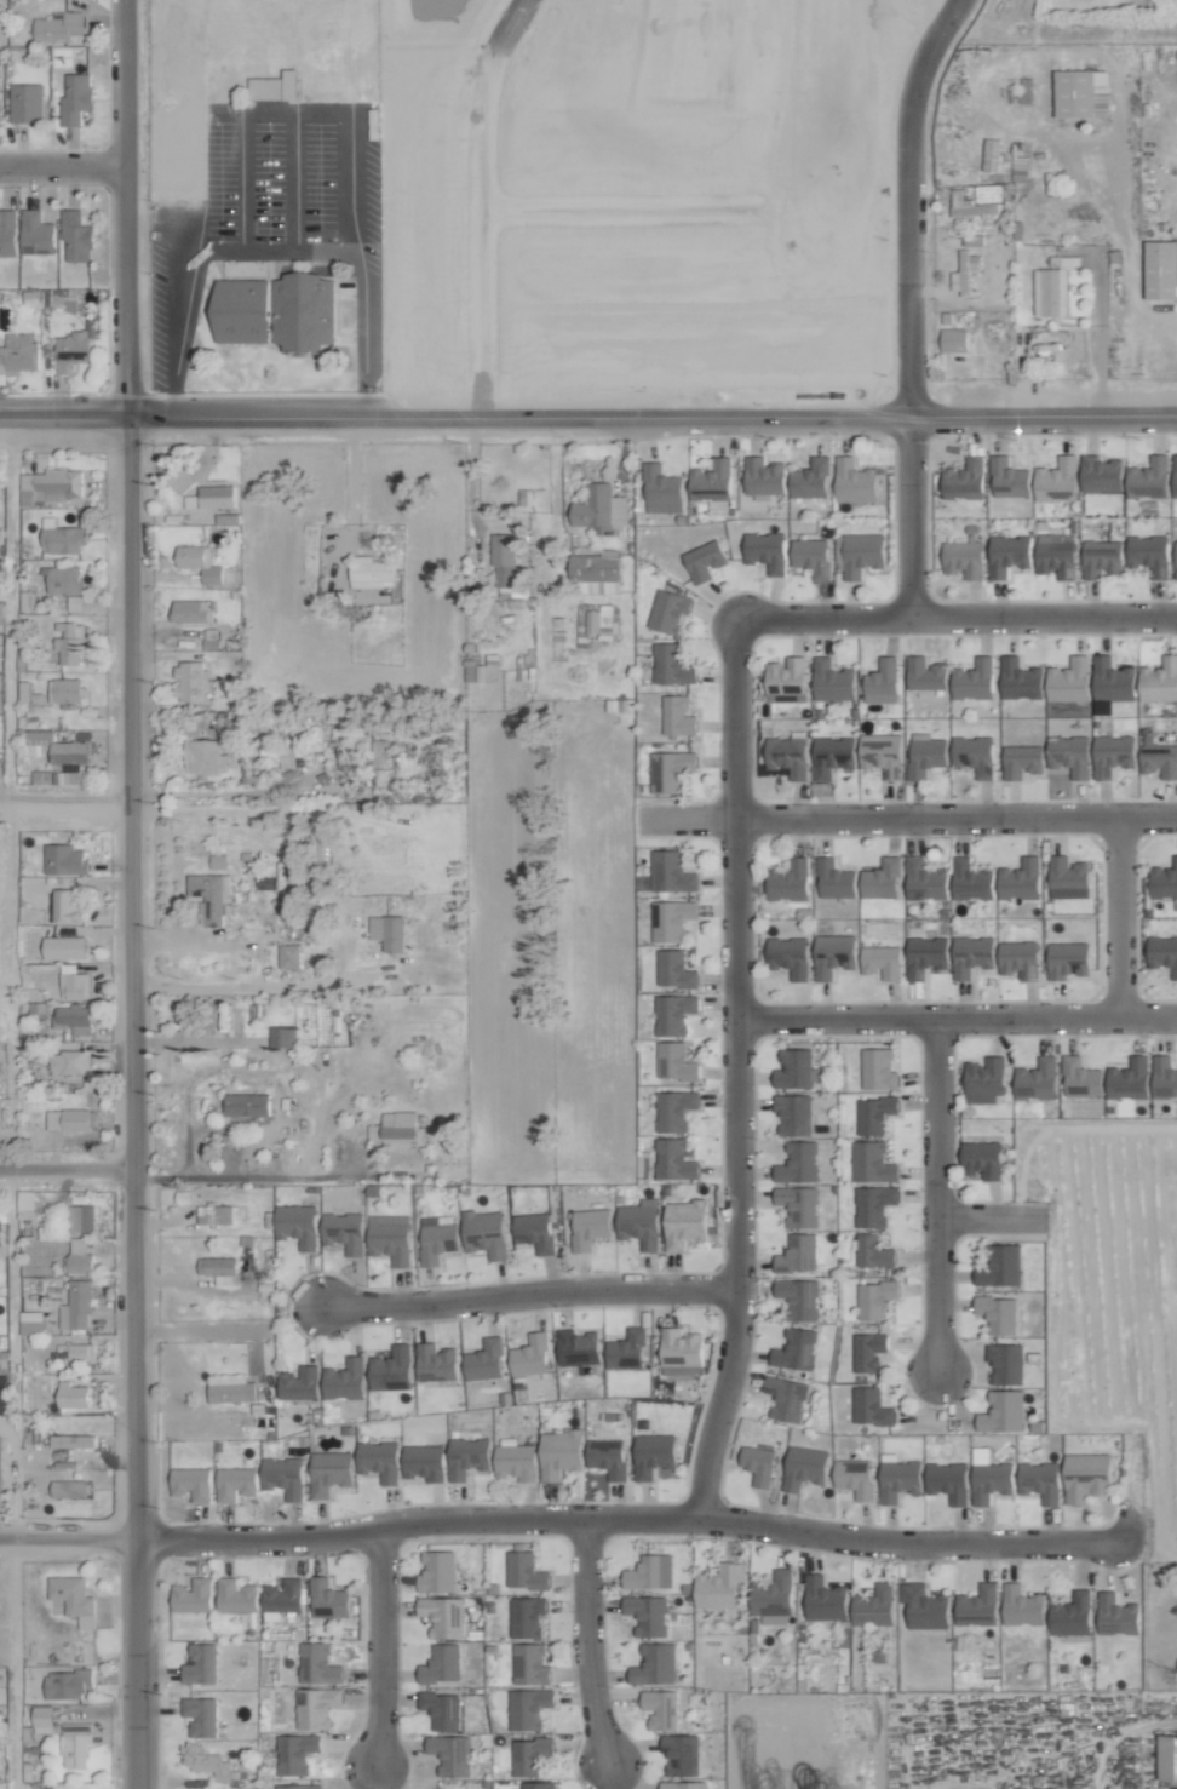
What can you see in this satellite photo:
building: (57, 27)
building: (274, 87)
building: (1081, 93)
building: (74, 98)
building: (24, 103)
road: (249, 109)
road: (62, 165)
building: (1018, 168)
road: (459, 202)
building: (969, 205)
building: (6, 233)
building: (35, 234)
building: (74, 237)
building: (971, 240)
building: (1161, 271)
building: (963, 273)
building: (1052, 286)
road: (913, 302)
building: (275, 312)
building: (953, 340)
building: (73, 346)
building: (17, 354)
road: (587, 417)
building: (1100, 472)
building: (1175, 474)
building: (762, 477)
building: (1007, 477)
building: (1148, 477)
building: (180, 478)
building: (809, 478)
building: (964, 478)
building: (1056, 478)
building: (711, 480)
building: (852, 480)
building: (48, 484)
building: (661, 489)
building: (216, 495)
building: (598, 508)
building: (61, 538)
building: (765, 550)
building: (861, 554)
building: (1007, 554)
building: (1055, 554)
building: (1148, 554)
building: (810, 556)
building: (1175, 556)
building: (963, 557)
building: (1100, 557)
building: (503, 560)
building: (702, 560)
building: (199, 562)
building: (595, 572)
building: (369, 573)
building: (64, 584)
road: (8, 610)
building: (190, 610)
building: (667, 610)
road: (957, 615)
building: (609, 624)
building: (68, 642)
building: (671, 664)
building: (481, 667)
building: (924, 672)
building: (1018, 678)
building: (189, 680)
building: (785, 680)
building: (832, 680)
building: (972, 680)
building: (1068, 680)
building: (1112, 680)
building: (1159, 680)
building: (880, 681)
building: (64, 689)
building: (677, 715)
building: (349, 733)
building: (53, 747)
building: (283, 752)
building: (880, 753)
building: (1112, 753)
building: (787, 755)
building: (972, 755)
building: (1069, 755)
building: (203, 756)
building: (831, 756)
building: (925, 756)
building: (1020, 759)
building: (1159, 761)
building: (671, 770)
road: (65, 809)
road: (907, 818)
building: (63, 859)
building: (671, 871)
building: (1068, 877)
building: (833, 879)
building: (880, 879)
building: (924, 879)
building: (970, 879)
building: (1020, 879)
building: (787, 881)
building: (1164, 881)
road: (131, 894)
building: (211, 895)
building: (65, 906)
road: (1123, 917)
building: (671, 919)
road: (426, 923)
building: (386, 931)
building: (63, 947)
building: (1162, 952)
building: (832, 954)
building: (925, 954)
building: (971, 954)
building: (287, 956)
building: (788, 956)
building: (1018, 958)
building: (1067, 959)
building: (882, 961)
building: (673, 969)
building: (73, 982)
building: (672, 1013)
road: (958, 1016)
building: (282, 1036)
building: (68, 1061)
building: (674, 1061)
building: (878, 1068)
building: (794, 1070)
road: (740, 1076)
building: (1164, 1077)
building: (1080, 1078)
building: (1127, 1078)
building: (984, 1079)
building: (1035, 1079)
building: (245, 1103)
building: (673, 1109)
building: (792, 1113)
building: (873, 1114)
building: (69, 1119)
building: (398, 1129)
building: (981, 1158)
building: (674, 1159)
building: (798, 1163)
building: (871, 1163)
road: (65, 1168)
road: (242, 1176)
road: (937, 1193)
building: (24, 1198)
building: (798, 1205)
building: (873, 1205)
building: (213, 1214)
building: (79, 1217)
road: (992, 1219)
building: (683, 1222)
building: (638, 1223)
building: (297, 1225)
building: (588, 1227)
building: (533, 1231)
building: (343, 1232)
building: (483, 1233)
building: (389, 1238)
building: (435, 1239)
building: (0, 1248)
building: (872, 1251)
building: (798, 1254)
building: (77, 1257)
building: (999, 1266)
building: (218, 1268)
road: (528, 1295)
building: (799, 1297)
building: (874, 1298)
building: (75, 1306)
building: (997, 1313)
building: (30, 1321)
building: (576, 1347)
building: (626, 1349)
building: (794, 1349)
building: (867, 1351)
building: (77, 1352)
building: (679, 1352)
building: (529, 1355)
building: (483, 1360)
building: (434, 1363)
building: (1005, 1364)
building: (390, 1369)
building: (343, 1380)
building: (297, 1383)
building: (230, 1388)
building: (71, 1395)
building: (785, 1398)
building: (869, 1406)
building: (1001, 1411)
building: (70, 1440)
building: (558, 1452)
building: (651, 1455)
building: (466, 1457)
building: (607, 1457)
building: (378, 1460)
building: (423, 1462)
building: (515, 1462)
building: (758, 1464)
building: (803, 1467)
building: (328, 1472)
building: (282, 1477)
building: (854, 1477)
building: (988, 1477)
building: (1086, 1477)
building: (897, 1478)
road: (8, 1479)
building: (1039, 1480)
building: (947, 1481)
building: (190, 1484)
building: (234, 1484)
building: (68, 1489)
road: (551, 1518)
building: (524, 1571)
building: (436, 1572)
building: (649, 1572)
building: (718, 1587)
building: (191, 1595)
building: (235, 1596)
building: (280, 1598)
building: (771, 1598)
building: (327, 1599)
building: (823, 1599)
building: (70, 1600)
building: (872, 1606)
building: (923, 1606)
building: (977, 1606)
building: (1021, 1606)
building: (647, 1615)
building: (1070, 1615)
building: (1115, 1615)
building: (442, 1616)
building: (526, 1616)
road: (585, 1644)
road: (375, 1648)
building: (200, 1664)
building: (317, 1664)
building: (441, 1664)
building: (529, 1664)
building: (653, 1664)
building: (65, 1684)
building: (315, 1707)
building: (527, 1708)
building: (441, 1709)
building: (659, 1709)
building: (199, 1716)
building: (42, 1719)
building: (74, 1744)
building: (295, 1753)
building: (449, 1754)
building: (528, 1755)
building: (681, 1755)
building: (1167, 1758)
building: (217, 1767)
building: (536, 1785)
building: (682, 1785)
building: (297, 1787)

